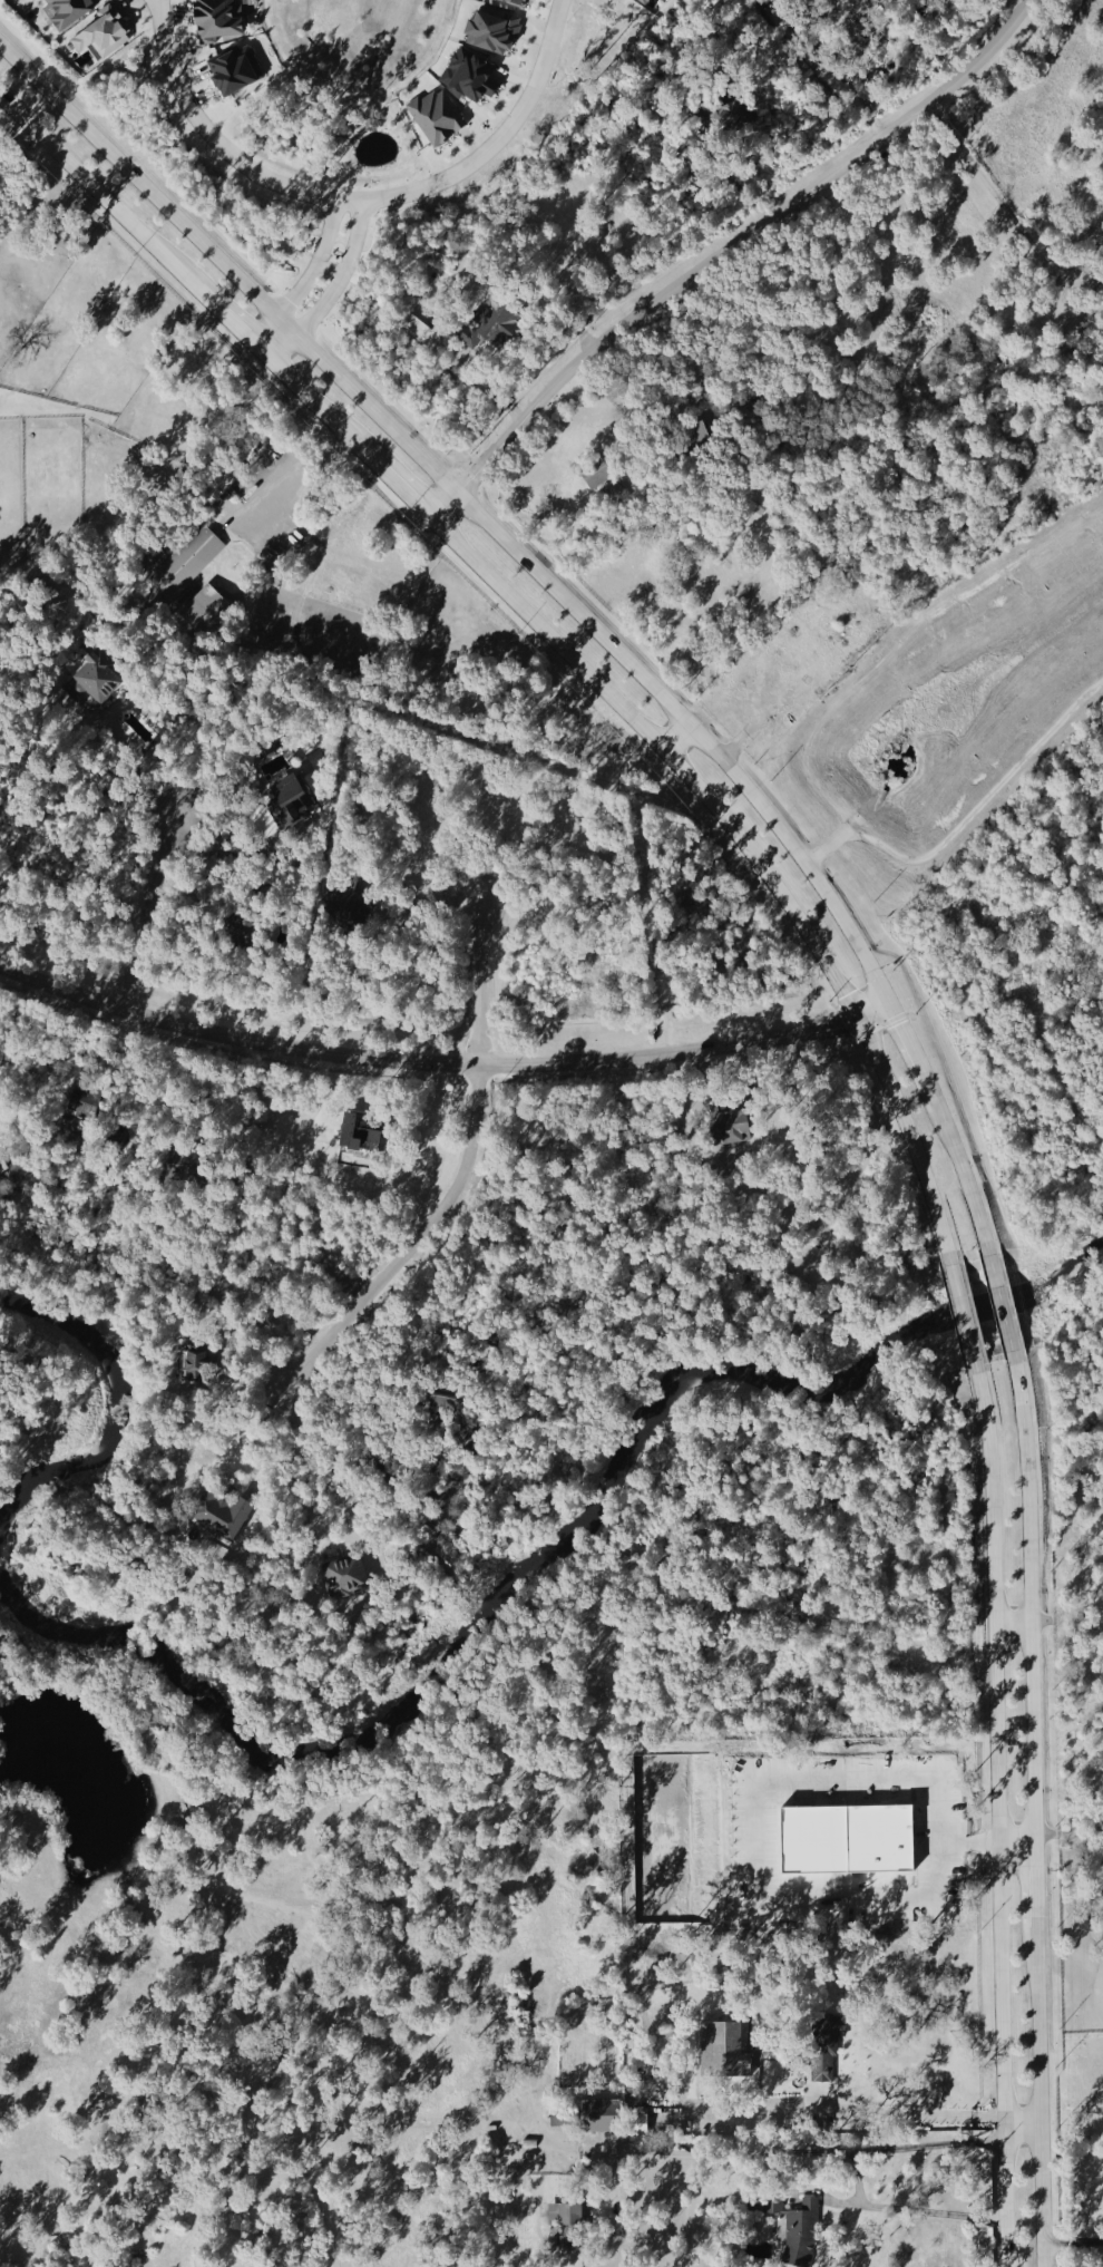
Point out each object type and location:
building: (647, 2)
building: (516, 3)
building: (69, 12)
building: (218, 20)
building: (495, 33)
building: (105, 36)
building: (236, 72)
building: (471, 77)
building: (732, 116)
building: (439, 119)
road: (213, 137)
road: (495, 146)
road: (98, 193)
road: (999, 198)
road: (722, 250)
road: (318, 265)
building: (1102, 274)
road: (343, 276)
road: (231, 320)
building: (504, 327)
road: (275, 339)
road: (482, 383)
road: (314, 402)
building: (703, 436)
building: (598, 479)
road: (285, 486)
road: (398, 486)
crop: (204, 488)
road: (468, 504)
building: (183, 570)
building: (206, 612)
building: (101, 678)
road: (148, 716)
road: (677, 738)
road: (135, 749)
building: (592, 750)
building: (295, 804)
road: (749, 853)
road: (429, 903)
road: (147, 906)
road: (479, 983)
traffic signals: (886, 1002)
road: (19, 1009)
traffic signals: (858, 1018)
road: (906, 1042)
road: (440, 1061)
building: (82, 1106)
road: (2, 1122)
building: (742, 1127)
building: (364, 1133)
building: (188, 1166)
road: (959, 1168)
road: (411, 1243)
road: (1002, 1307)
road: (964, 1317)
building: (194, 1364)
road: (320, 1461)
building: (226, 1517)
road: (1031, 1604)
road: (1013, 1624)
river: (432, 1682)
road: (997, 1817)
road: (866, 1833)
building: (821, 1846)
road: (1017, 1850)
road: (1036, 1876)
crop: (302, 2047)
building: (729, 2050)
crop: (1081, 2055)
building: (827, 2067)
road: (1041, 2084)
building: (605, 2117)
road: (833, 2117)
building: (564, 2120)
road: (1023, 2128)
road: (783, 2149)
road: (905, 2208)
building: (567, 2225)
building: (803, 2237)
road: (1073, 2237)

